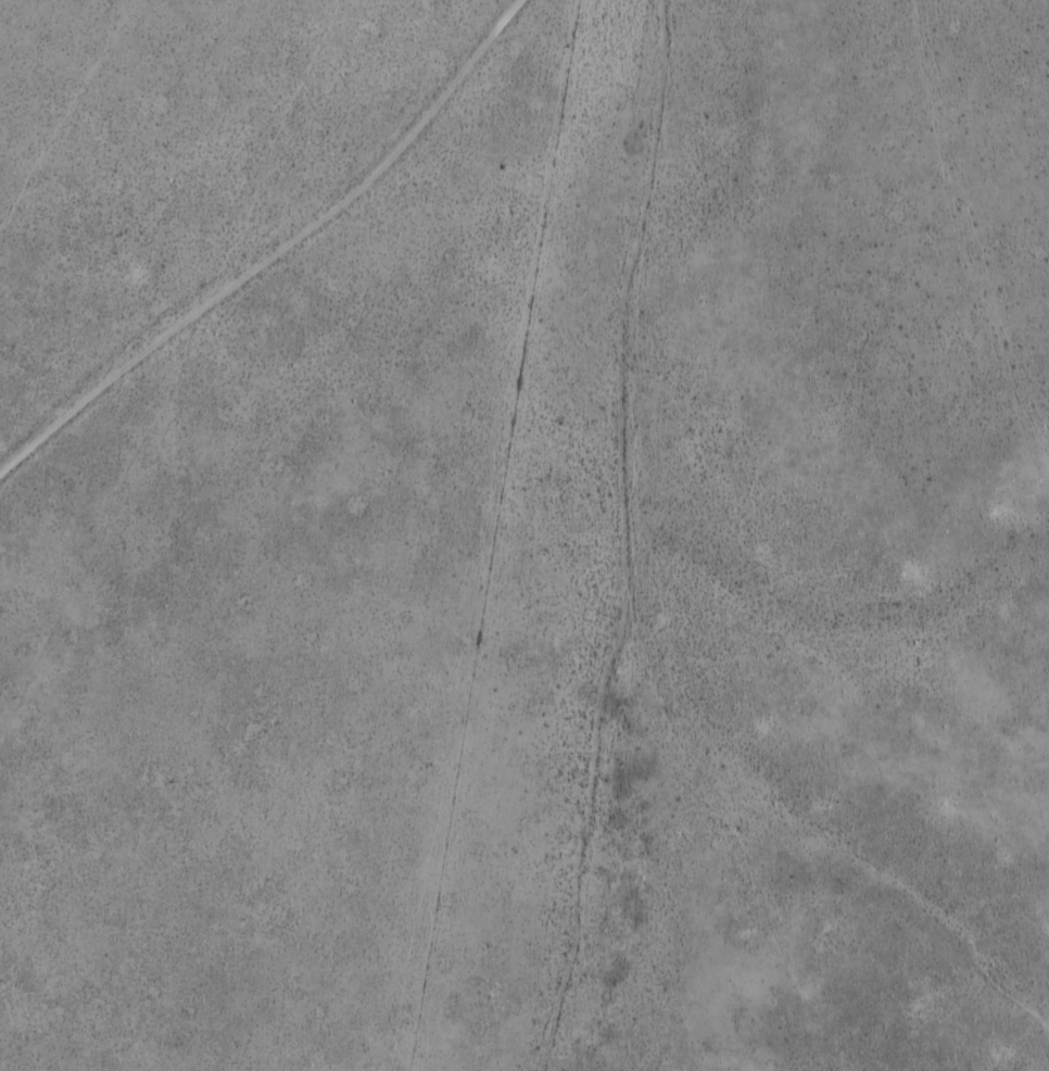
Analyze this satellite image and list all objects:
road: (277, 251)

